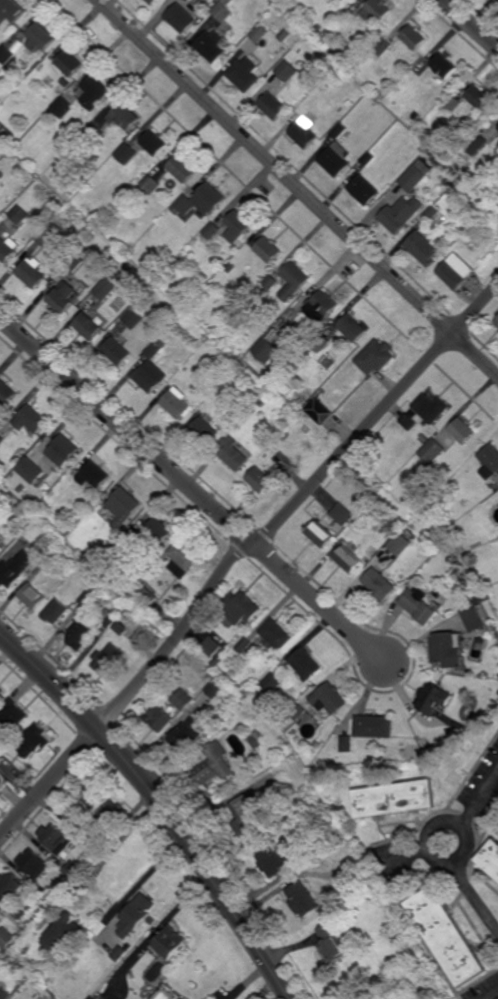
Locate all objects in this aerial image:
building: (188, 0)
building: (497, 0)
building: (152, 1)
building: (379, 9)
building: (10, 10)
building: (224, 10)
building: (181, 17)
road: (472, 23)
building: (317, 28)
building: (260, 33)
building: (39, 35)
building: (284, 35)
building: (414, 37)
building: (211, 45)
building: (383, 47)
building: (10, 48)
building: (69, 62)
building: (328, 63)
building: (445, 66)
building: (287, 70)
building: (245, 74)
building: (66, 82)
building: (445, 88)
building: (95, 91)
building: (480, 98)
building: (350, 104)
building: (452, 104)
building: (273, 106)
building: (61, 108)
building: (125, 115)
building: (339, 130)
building: (303, 132)
building: (94, 134)
building: (154, 142)
building: (476, 143)
building: (128, 153)
building: (335, 158)
building: (368, 158)
building: (182, 169)
building: (413, 177)
building: (447, 181)
building: (150, 185)
road: (298, 187)
building: (364, 189)
building: (37, 194)
building: (201, 201)
building: (432, 212)
building: (401, 213)
building: (20, 215)
building: (238, 226)
building: (210, 233)
building: (45, 238)
building: (422, 248)
building: (8, 249)
building: (268, 250)
building: (74, 263)
building: (231, 268)
building: (455, 270)
building: (31, 273)
building: (115, 274)
building: (293, 280)
building: (269, 283)
building: (106, 289)
building: (65, 298)
building: (318, 310)
building: (134, 318)
building: (496, 322)
building: (89, 327)
building: (352, 327)
building: (320, 342)
building: (117, 351)
building: (267, 351)
building: (376, 357)
building: (229, 367)
building: (239, 368)
building: (153, 369)
building: (276, 371)
building: (7, 393)
building: (177, 403)
building: (262, 403)
building: (319, 411)
building: (425, 411)
road: (377, 416)
building: (32, 420)
road: (122, 425)
building: (462, 431)
building: (206, 432)
building: (286, 436)
building: (425, 437)
building: (2, 441)
building: (432, 450)
building: (64, 451)
building: (234, 454)
building: (469, 463)
building: (488, 464)
building: (33, 472)
building: (95, 476)
building: (262, 481)
building: (435, 483)
building: (22, 489)
building: (494, 489)
building: (125, 508)
building: (43, 509)
building: (342, 514)
building: (2, 516)
building: (160, 532)
building: (319, 534)
building: (132, 539)
building: (400, 544)
building: (1, 549)
building: (95, 554)
building: (184, 557)
building: (49, 559)
building: (348, 559)
building: (16, 568)
building: (93, 575)
building: (379, 585)
building: (466, 590)
building: (33, 595)
building: (144, 595)
building: (87, 598)
building: (488, 598)
road: (314, 599)
building: (419, 606)
building: (238, 609)
building: (56, 611)
building: (474, 617)
building: (123, 625)
building: (90, 627)
building: (492, 629)
building: (276, 634)
building: (212, 646)
building: (246, 647)
building: (448, 651)
building: (107, 659)
building: (304, 664)
building: (271, 682)
building: (215, 687)
building: (1, 691)
road: (130, 693)
building: (183, 699)
building: (329, 699)
building: (436, 700)
building: (297, 711)
building: (13, 713)
building: (158, 718)
building: (374, 727)
building: (257, 734)
building: (187, 735)
building: (34, 740)
building: (254, 743)
building: (318, 744)
building: (347, 745)
building: (367, 749)
building: (373, 760)
building: (382, 760)
building: (213, 763)
building: (93, 794)
building: (395, 797)
road: (160, 803)
road: (473, 804)
building: (111, 816)
building: (246, 818)
building: (74, 826)
building: (56, 838)
building: (98, 845)
building: (491, 856)
building: (87, 860)
building: (271, 861)
building: (35, 864)
building: (354, 865)
building: (73, 870)
road: (148, 875)
building: (10, 885)
road: (468, 887)
building: (302, 901)
building: (2, 914)
building: (27, 919)
building: (134, 920)
building: (154, 920)
building: (99, 931)
building: (399, 934)
building: (66, 935)
building: (447, 935)
building: (7, 938)
building: (171, 942)
building: (331, 944)
building: (120, 953)
building: (105, 989)
building: (5, 994)
road: (493, 996)

